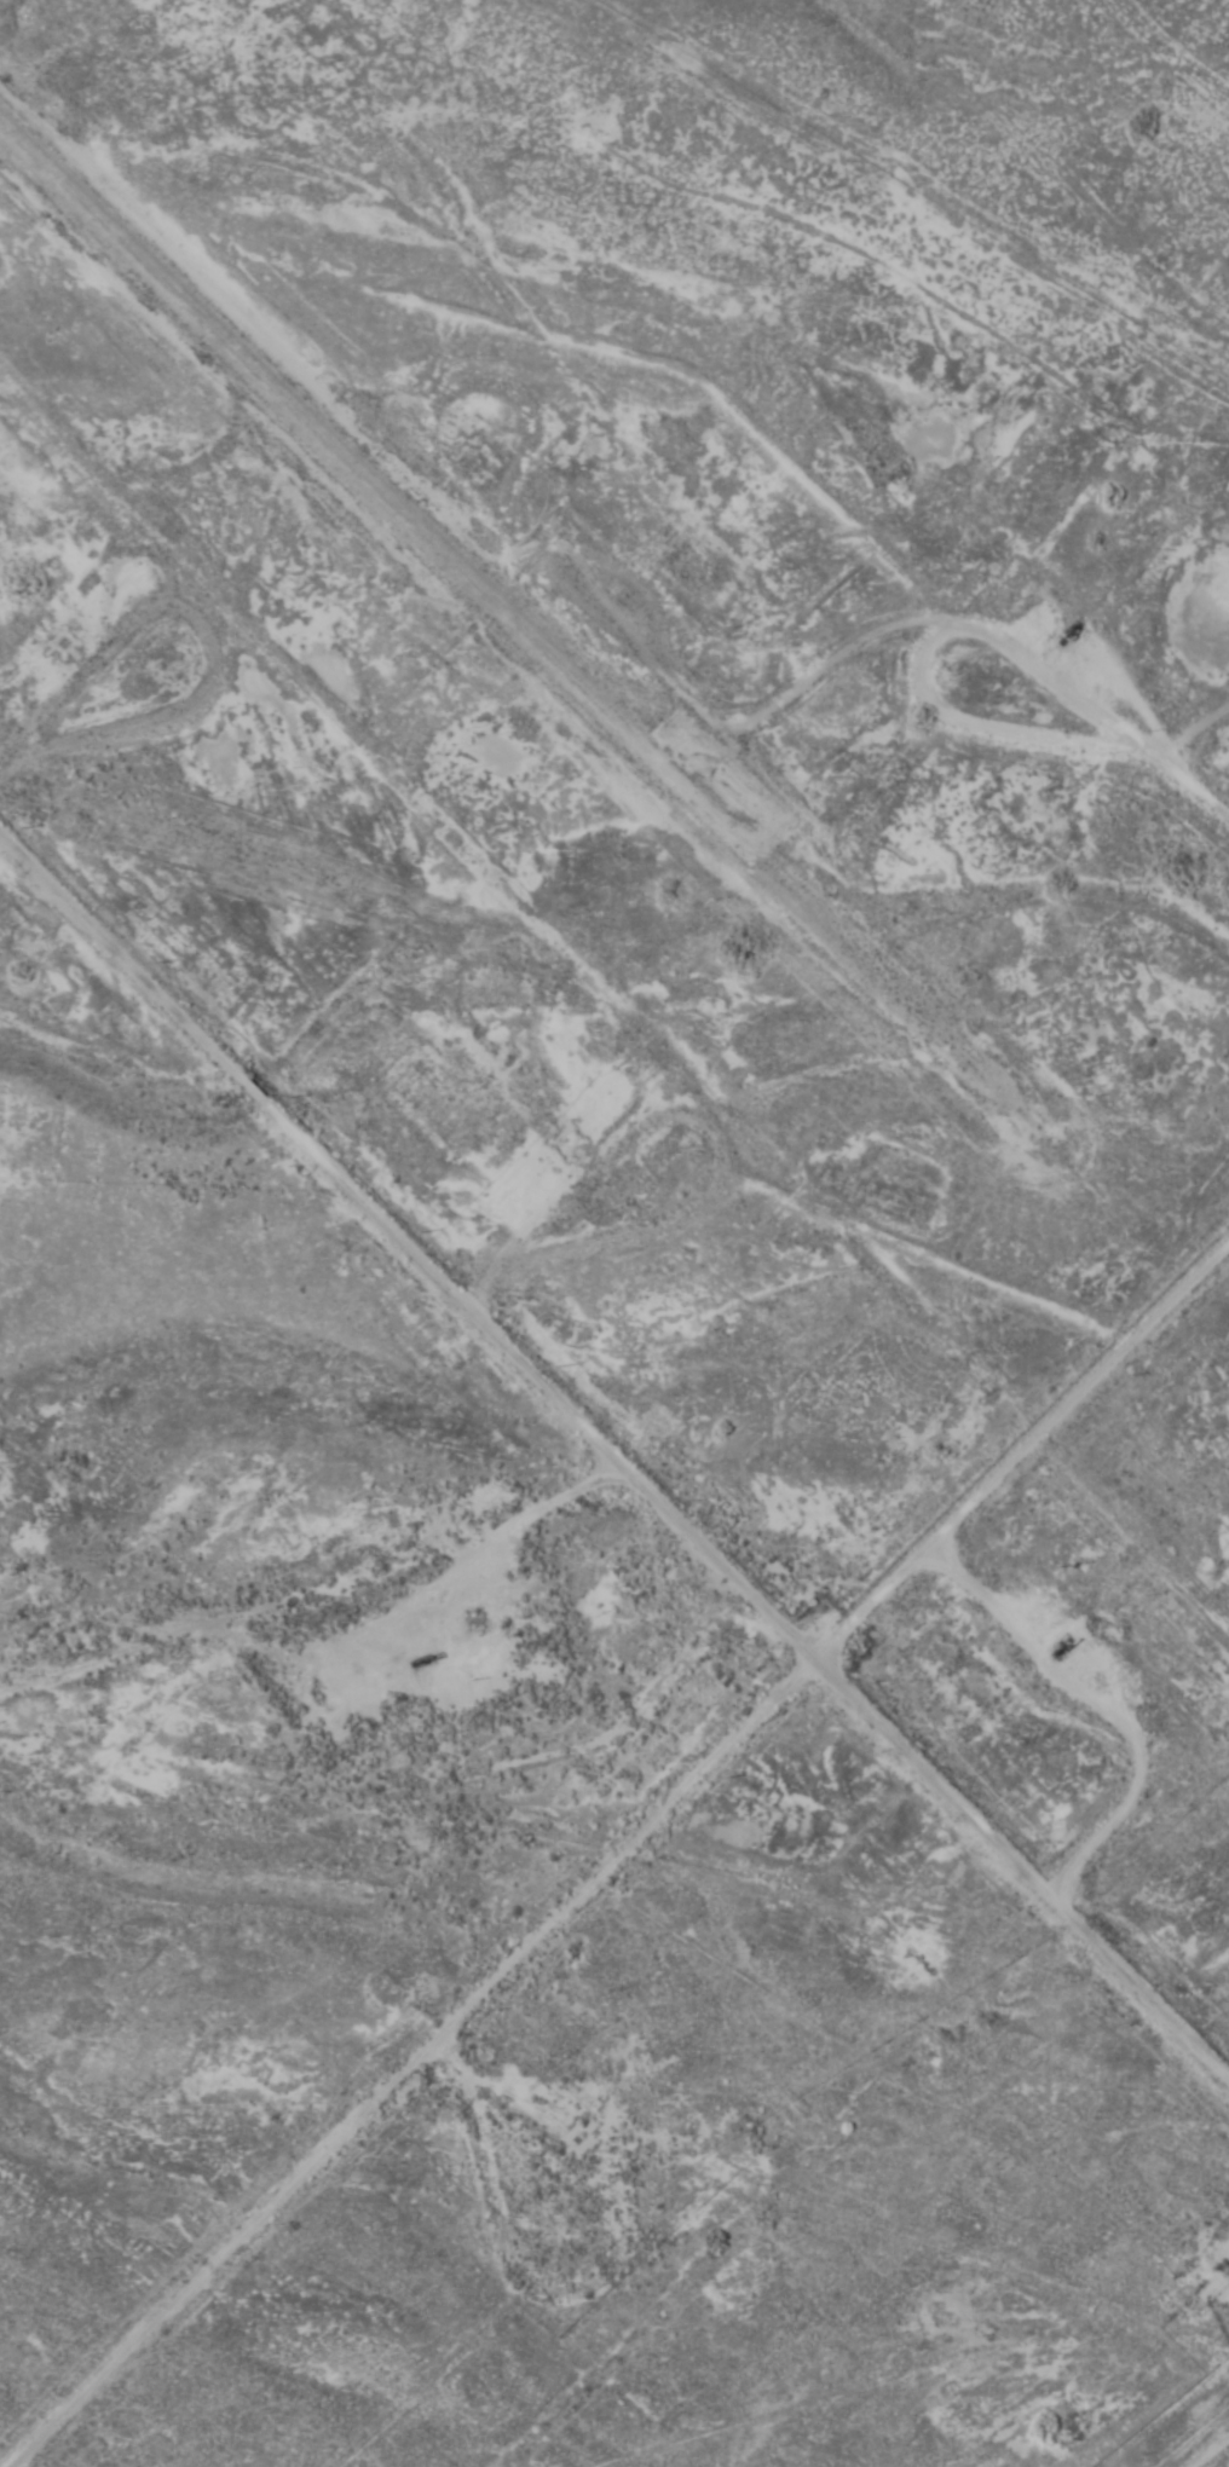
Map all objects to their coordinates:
road: (1193, 711)
road: (998, 724)
road: (614, 1451)
road: (613, 1838)
road: (579, 2168)

